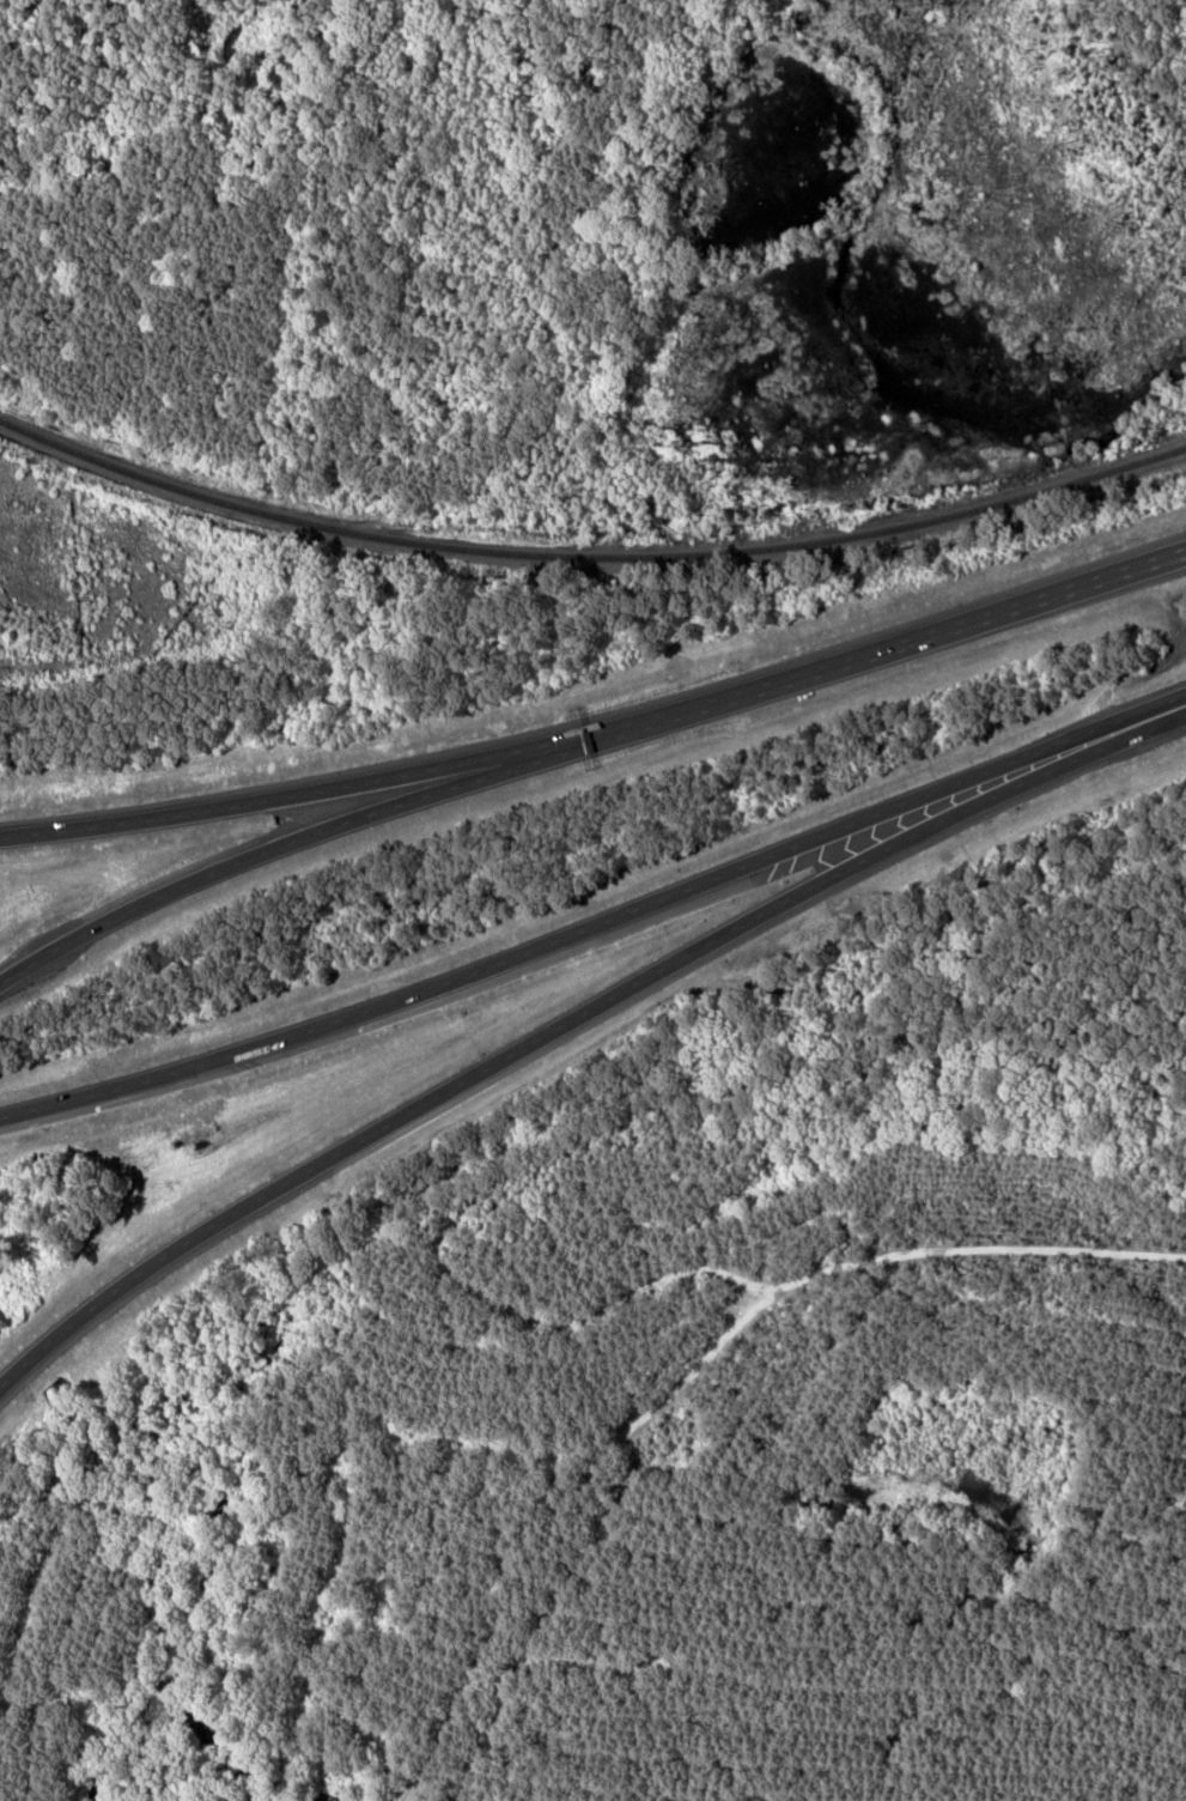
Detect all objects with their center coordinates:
railway: (589, 558)
road: (876, 653)
road: (282, 796)
road: (274, 848)
road: (597, 923)
road: (573, 1017)

